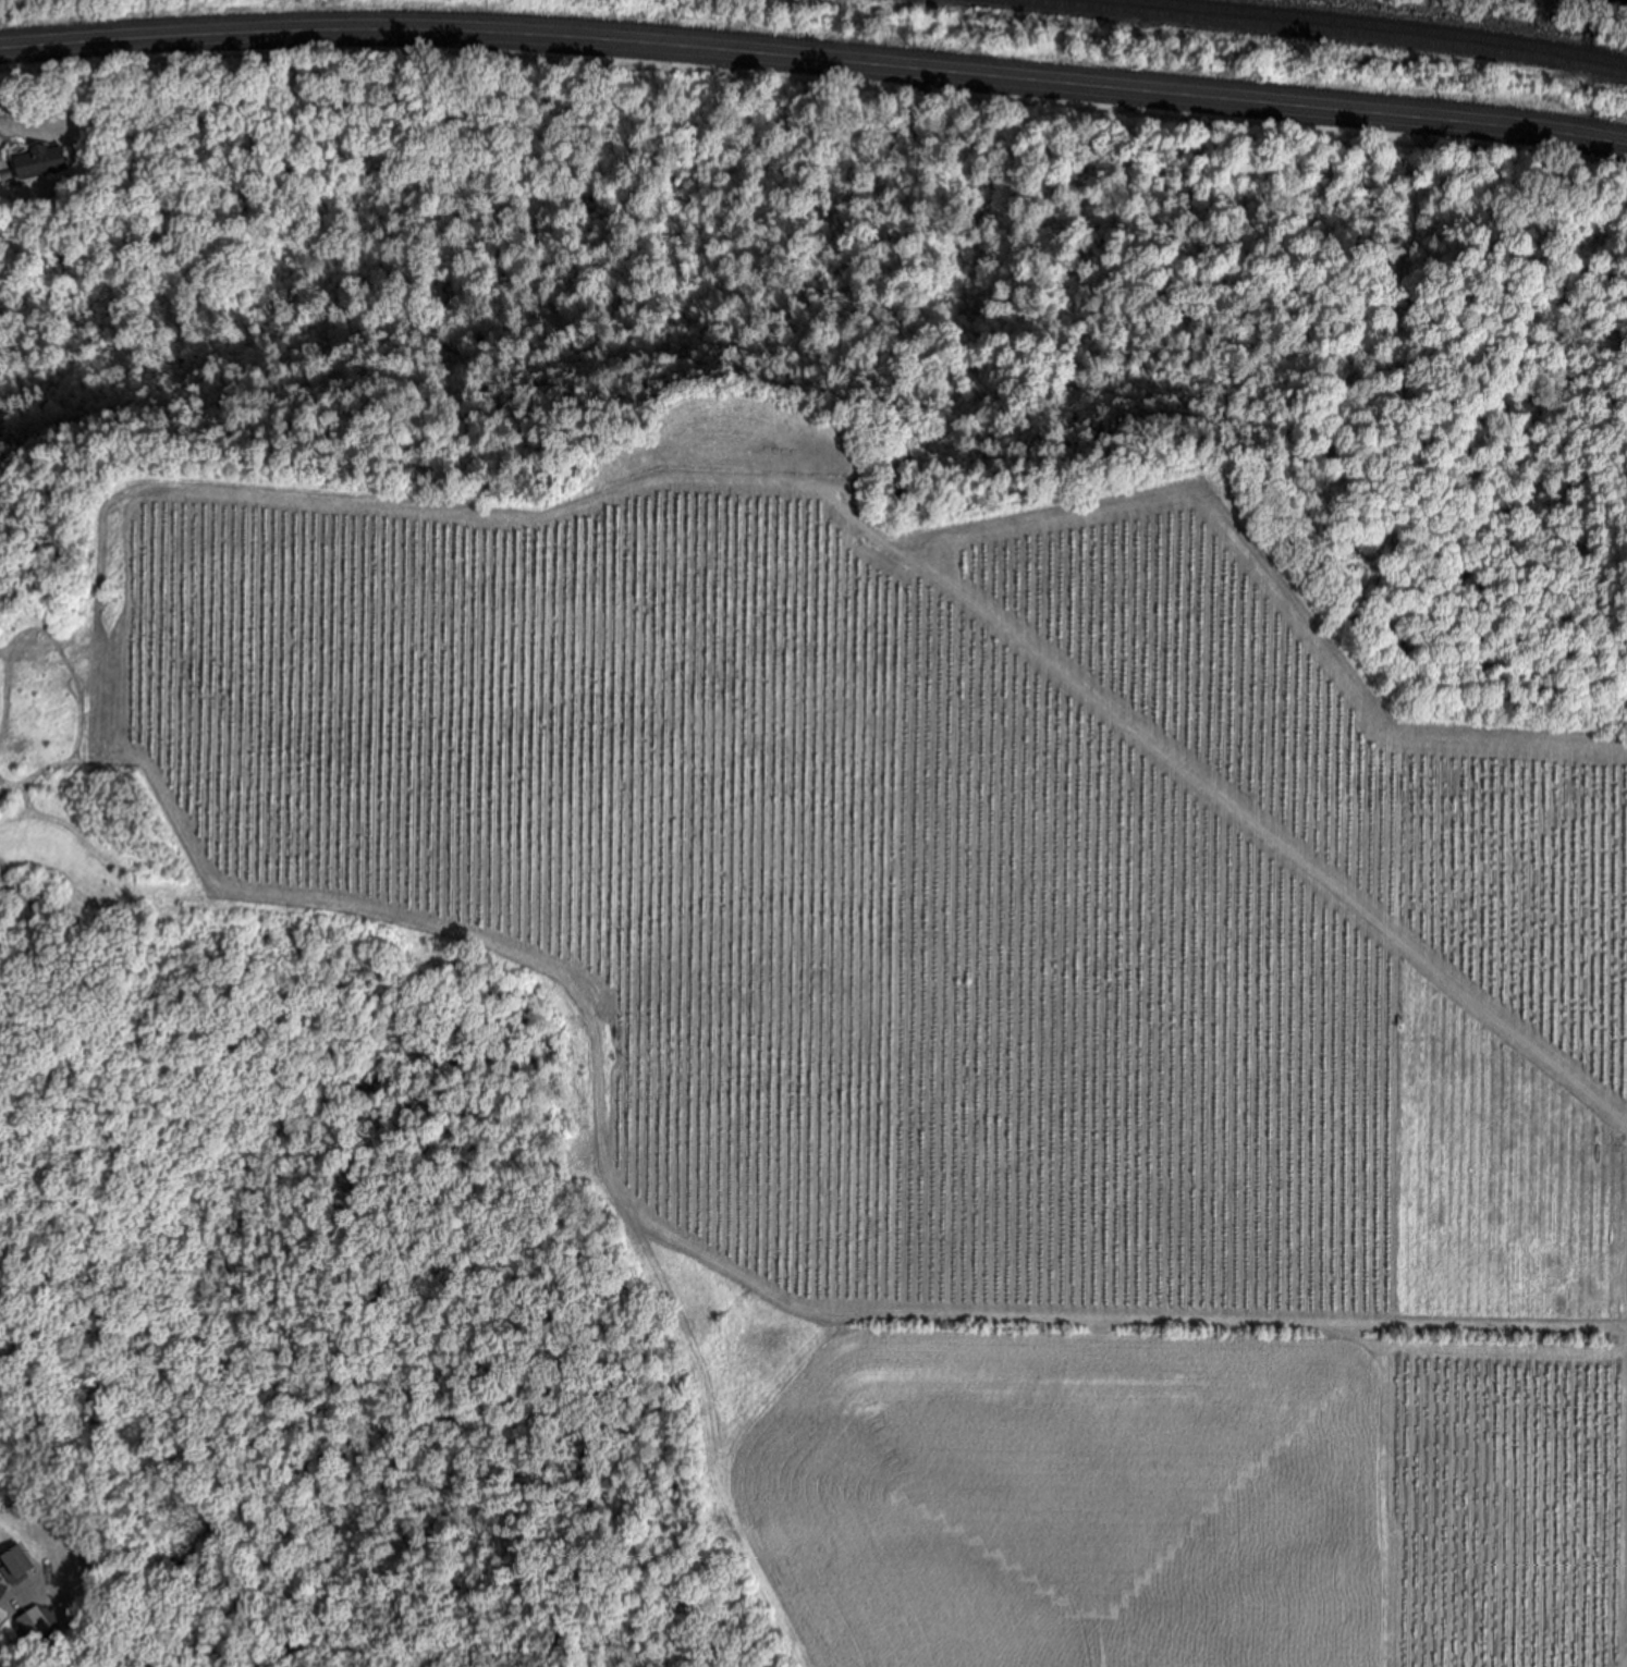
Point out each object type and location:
railway: (1374, 25)
railway: (1319, 30)
road: (815, 62)
building: (38, 163)
road: (125, 665)
building: (20, 1565)
road: (21, 1596)
building: (36, 1625)

